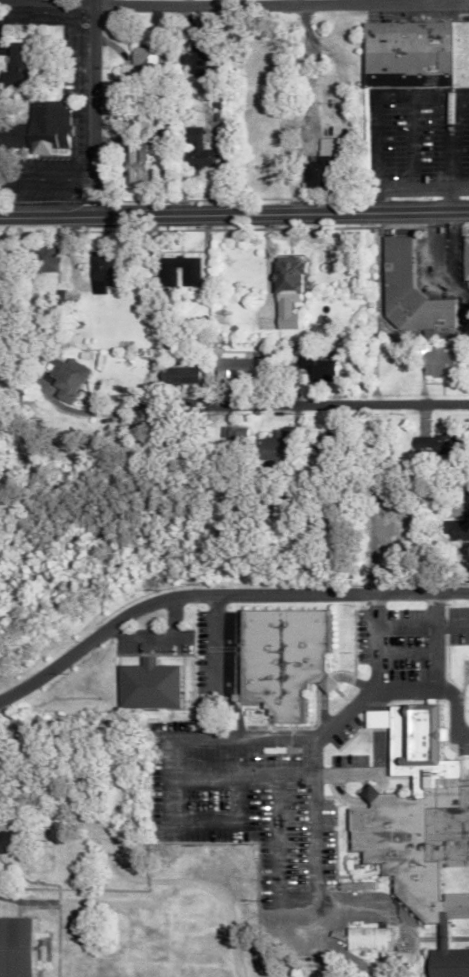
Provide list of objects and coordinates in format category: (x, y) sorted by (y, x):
road: (234, 3)
building: (413, 53)
building: (192, 58)
building: (141, 62)
building: (15, 66)
road: (92, 107)
building: (40, 126)
road: (442, 140)
building: (191, 149)
building: (132, 162)
building: (315, 163)
road: (408, 189)
road: (234, 214)
building: (43, 257)
building: (462, 258)
building: (98, 272)
building: (165, 276)
building: (283, 290)
building: (405, 293)
building: (432, 362)
building: (236, 367)
building: (311, 368)
building: (178, 374)
building: (64, 378)
road: (304, 404)
building: (232, 436)
building: (317, 440)
building: (430, 443)
building: (268, 446)
building: (456, 522)
road: (219, 595)
road: (420, 618)
road: (432, 642)
building: (278, 659)
road: (215, 666)
building: (148, 685)
road: (429, 693)
road: (217, 737)
building: (418, 828)
road: (311, 834)
building: (354, 885)
building: (368, 939)
building: (12, 947)
building: (31, 947)

